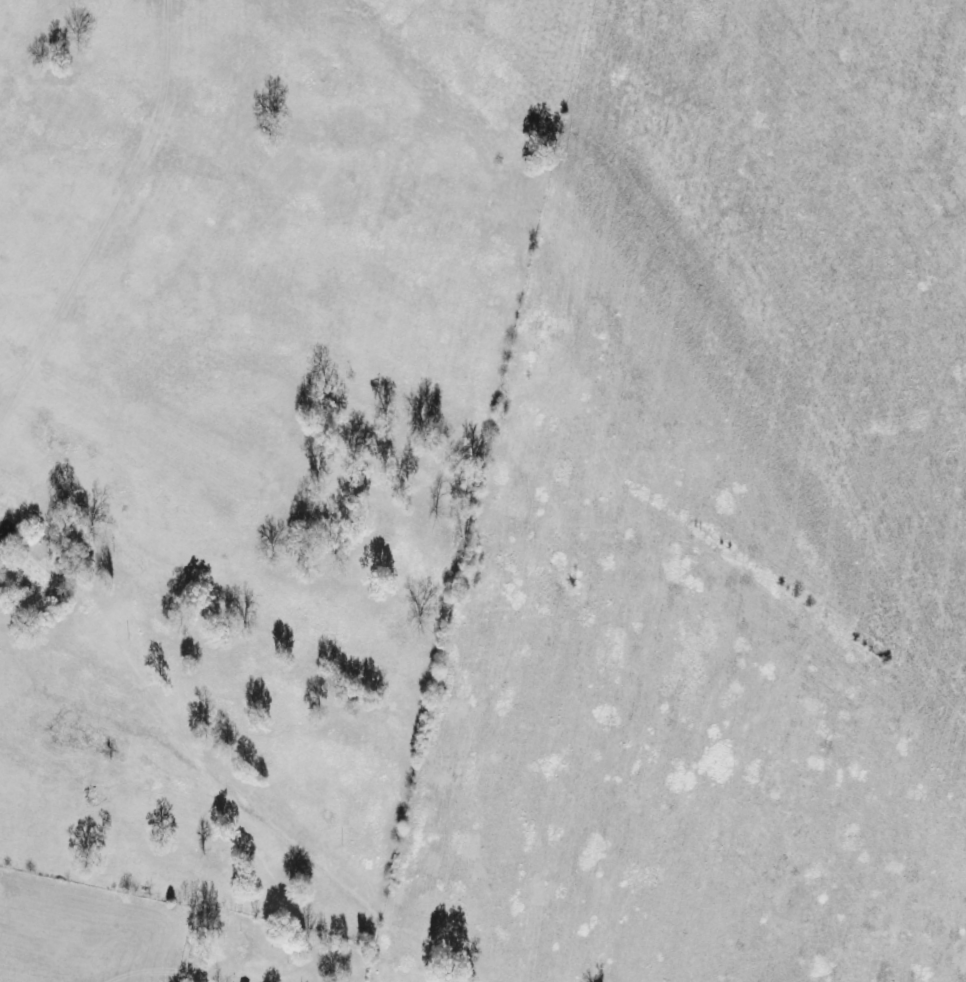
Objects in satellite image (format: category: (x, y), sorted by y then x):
road: (139, 962)

